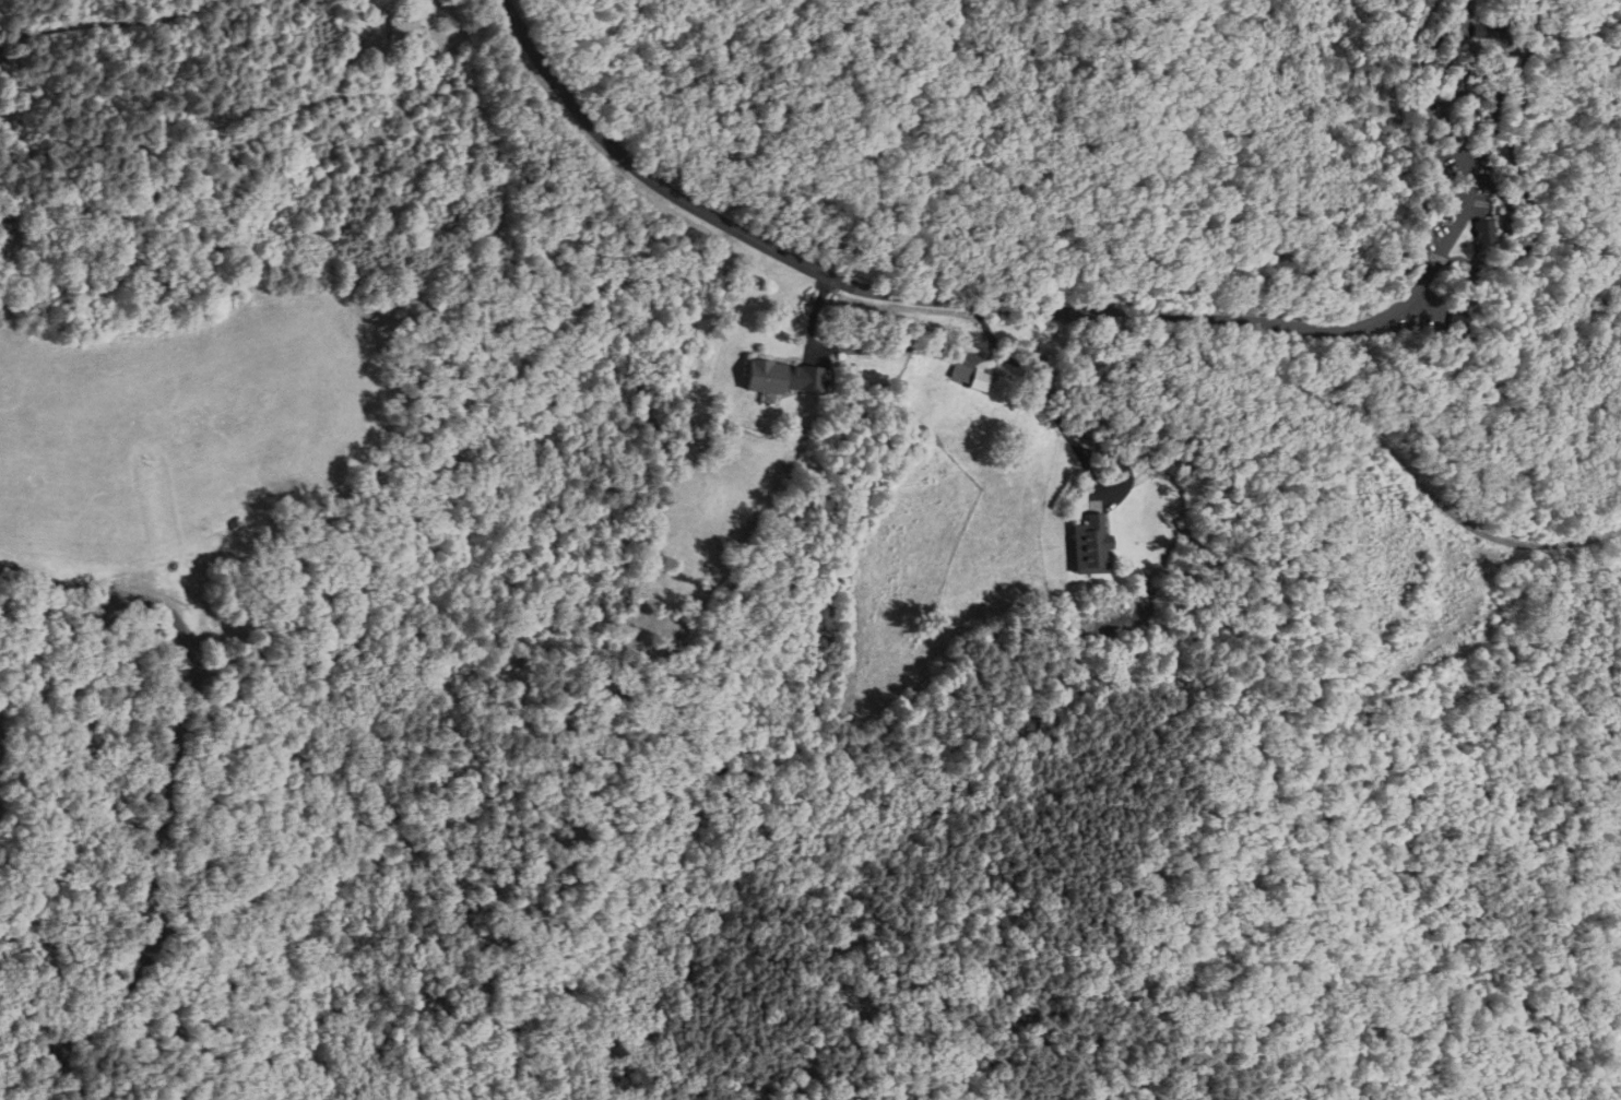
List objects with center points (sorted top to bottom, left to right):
road: (111, 26)
building: (402, 28)
building: (1486, 31)
road: (1500, 118)
road: (724, 224)
building: (1479, 225)
parking lot: (1446, 234)
road: (1308, 321)
building: (1463, 323)
road: (896, 343)
building: (966, 377)
building: (780, 378)
road: (1492, 385)
road: (1053, 407)
road: (1341, 411)
building: (1084, 545)
road: (168, 785)

